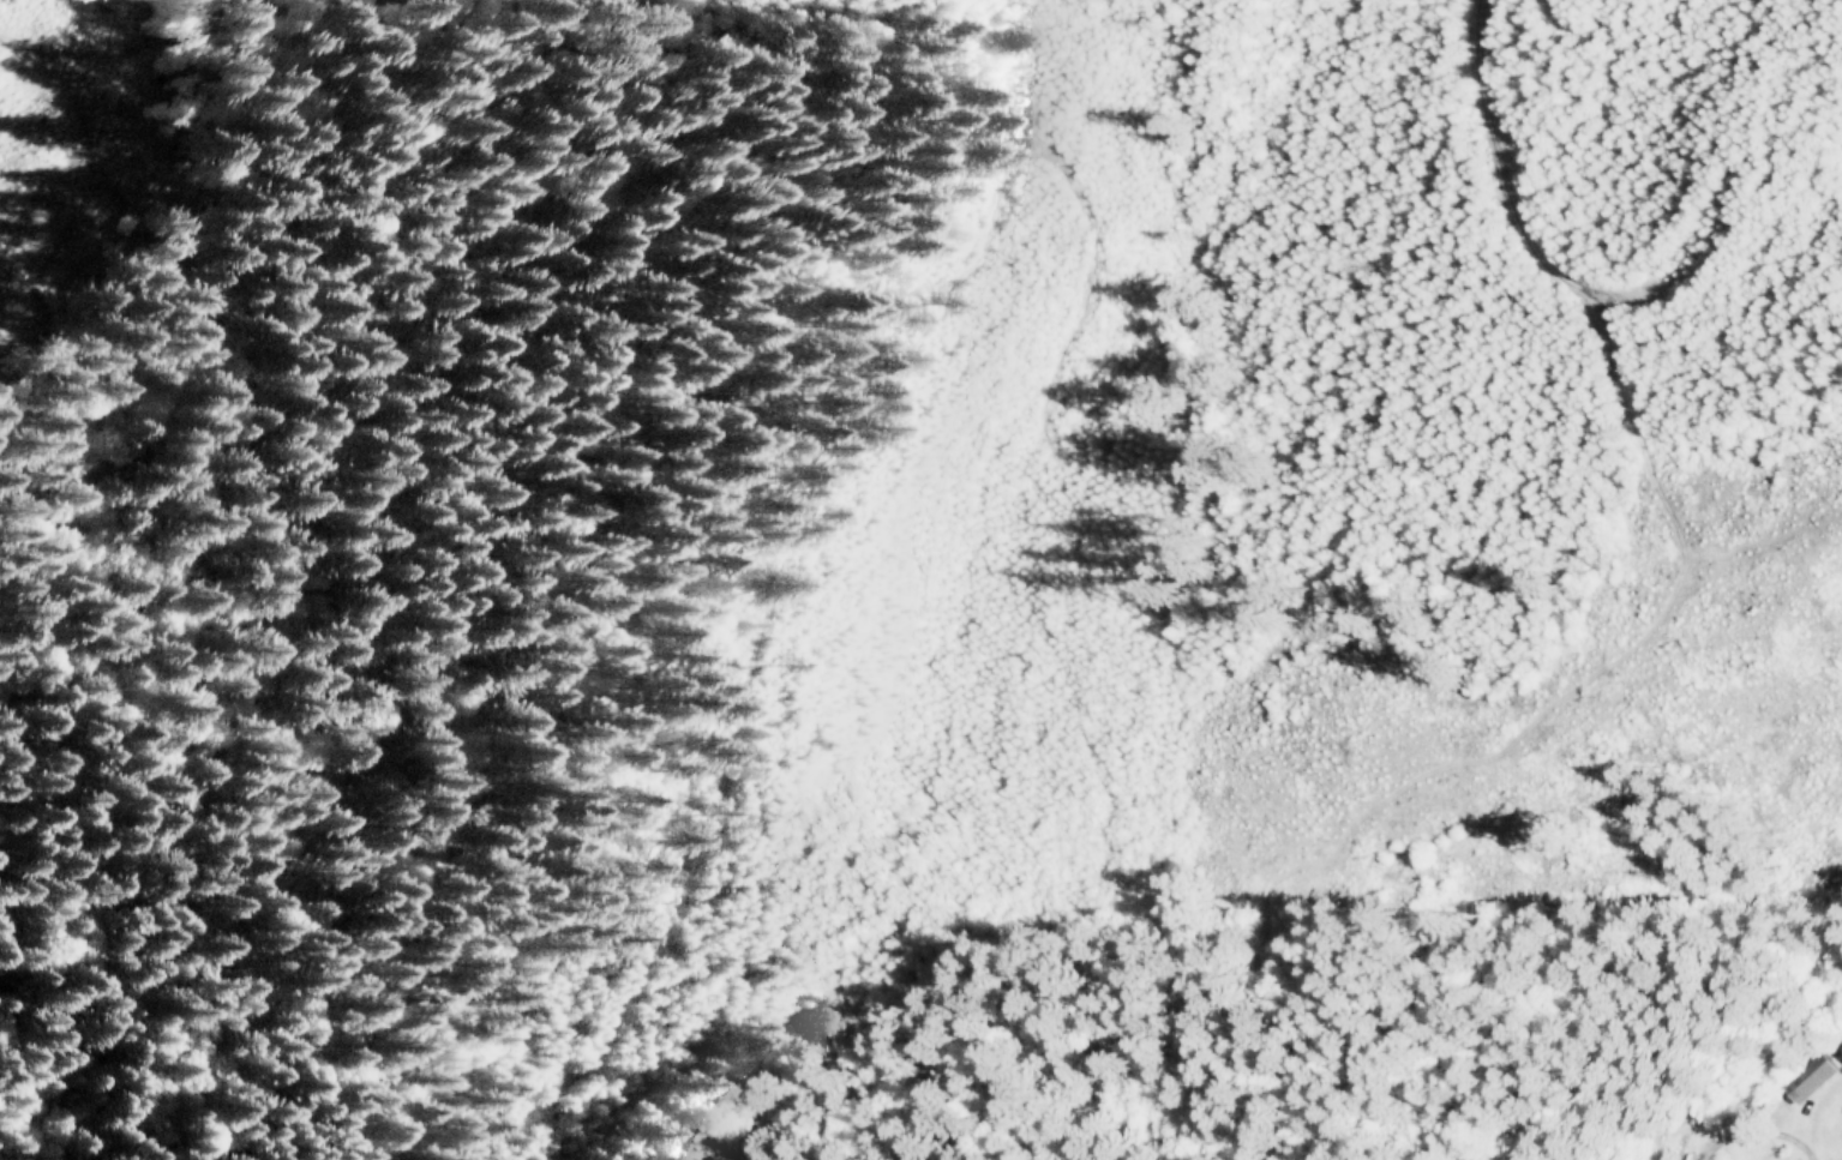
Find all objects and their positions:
building: (1841, 1045)
building: (1810, 1076)
road: (1756, 1131)

